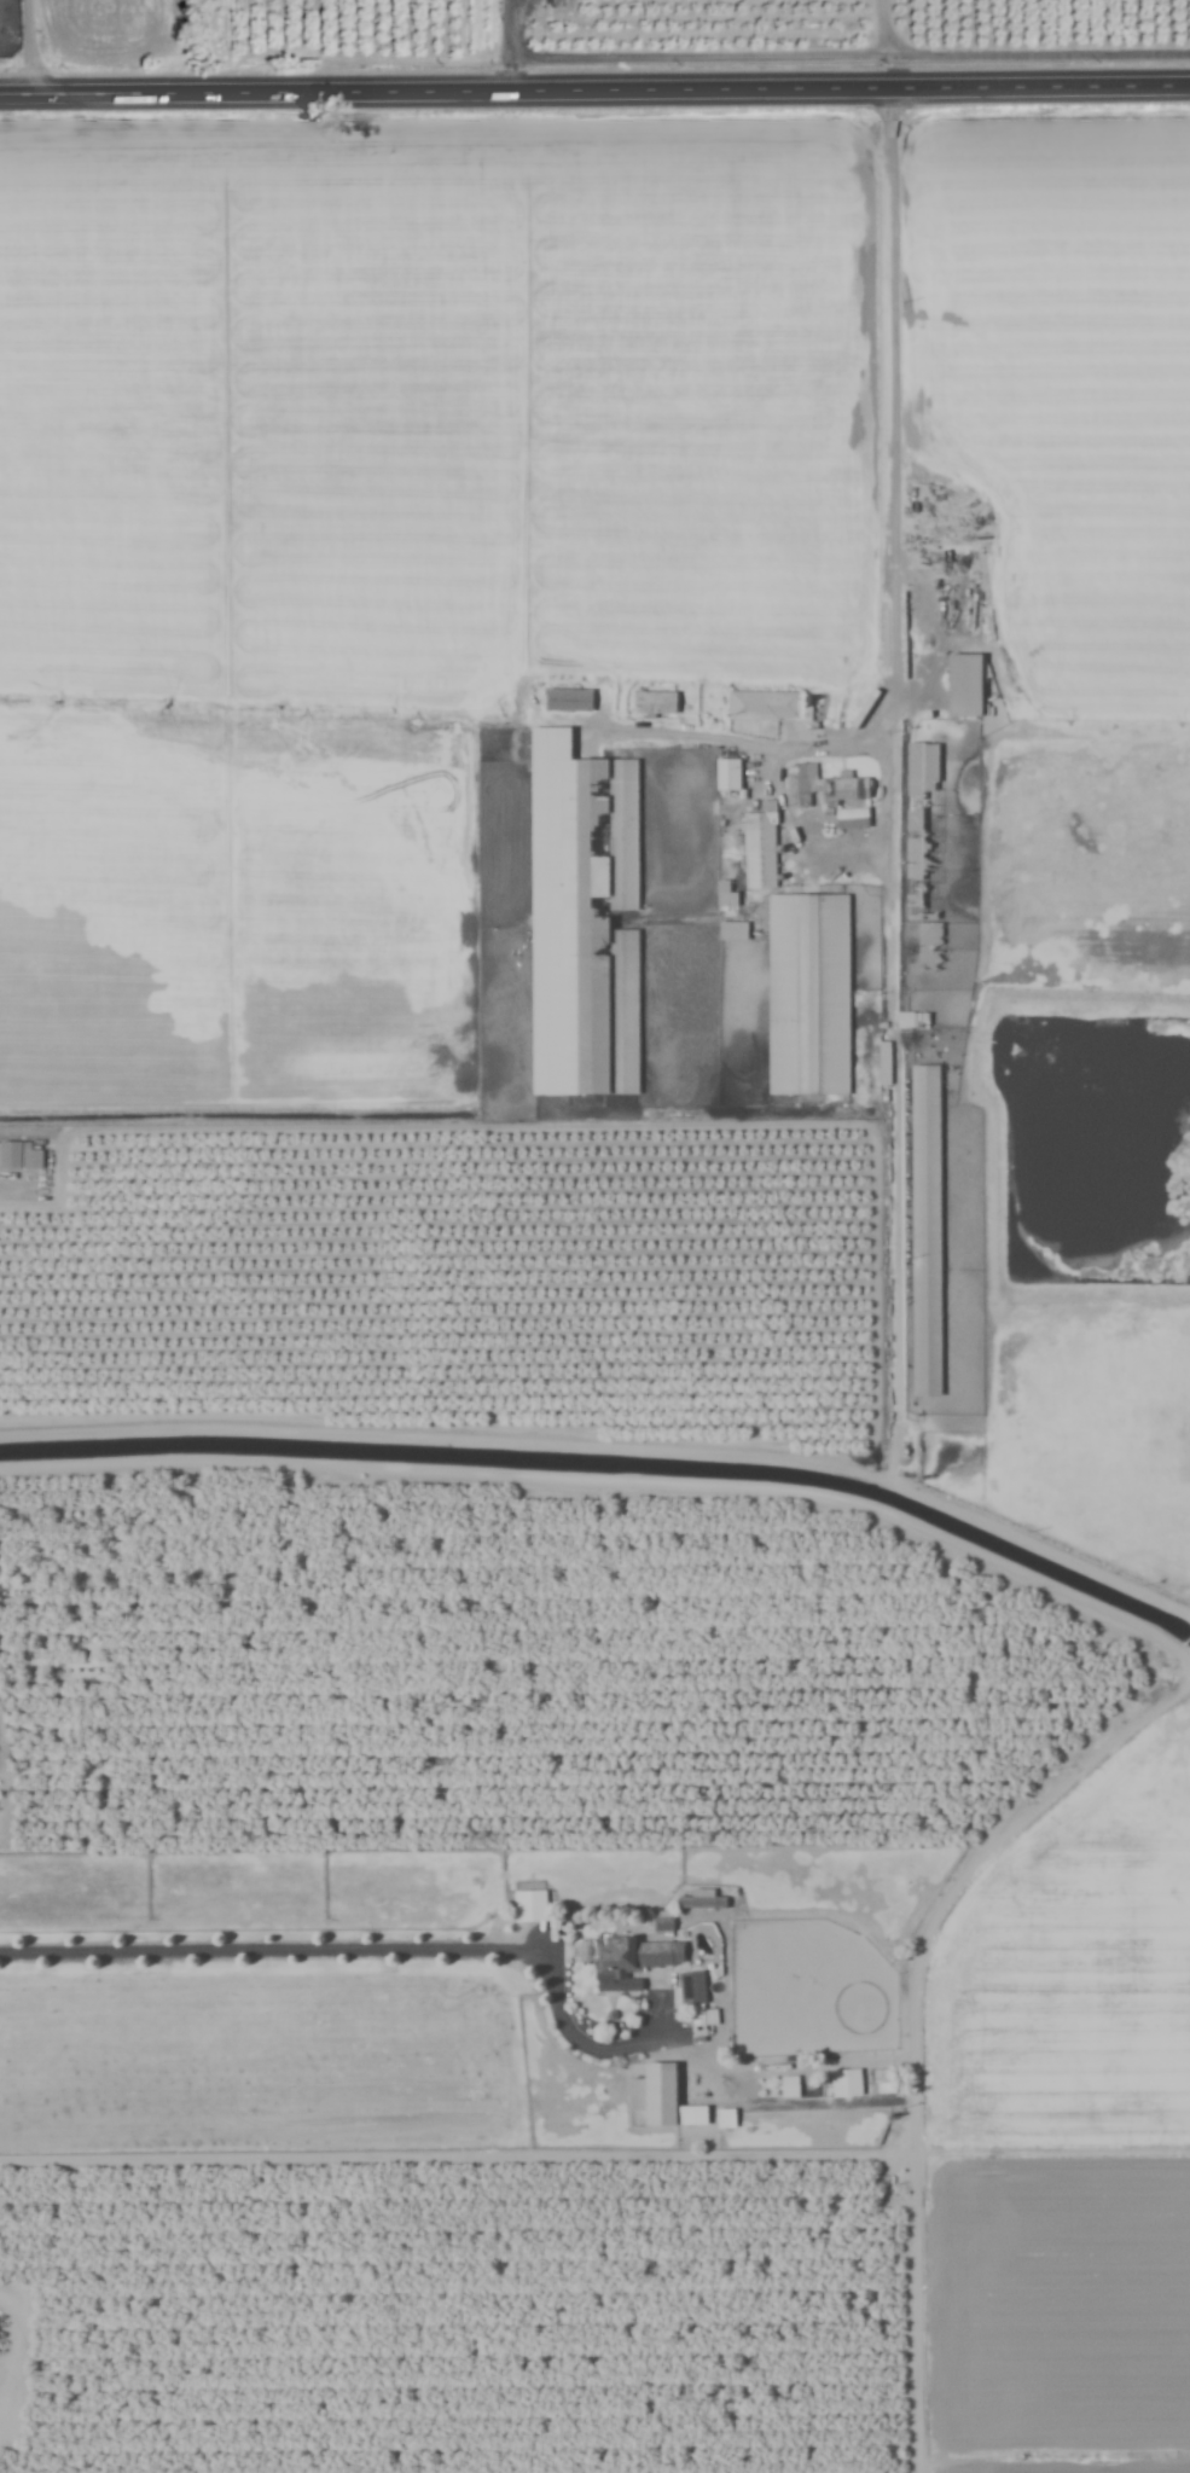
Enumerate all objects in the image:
road: (511, 43)
road: (29, 45)
road: (594, 87)
road: (894, 550)
building: (964, 686)
building: (568, 701)
building: (654, 704)
building: (762, 707)
building: (822, 788)
building: (921, 831)
road: (794, 835)
building: (759, 852)
building: (582, 921)
building: (929, 947)
building: (807, 995)
building: (19, 1156)
road: (18, 1189)
building: (11, 1221)
building: (925, 1231)
road: (825, 1465)
road: (1185, 1671)
road: (1085, 1758)
road: (368, 1947)
building: (634, 1960)
building: (693, 2005)
building: (844, 2086)
building: (655, 2095)

